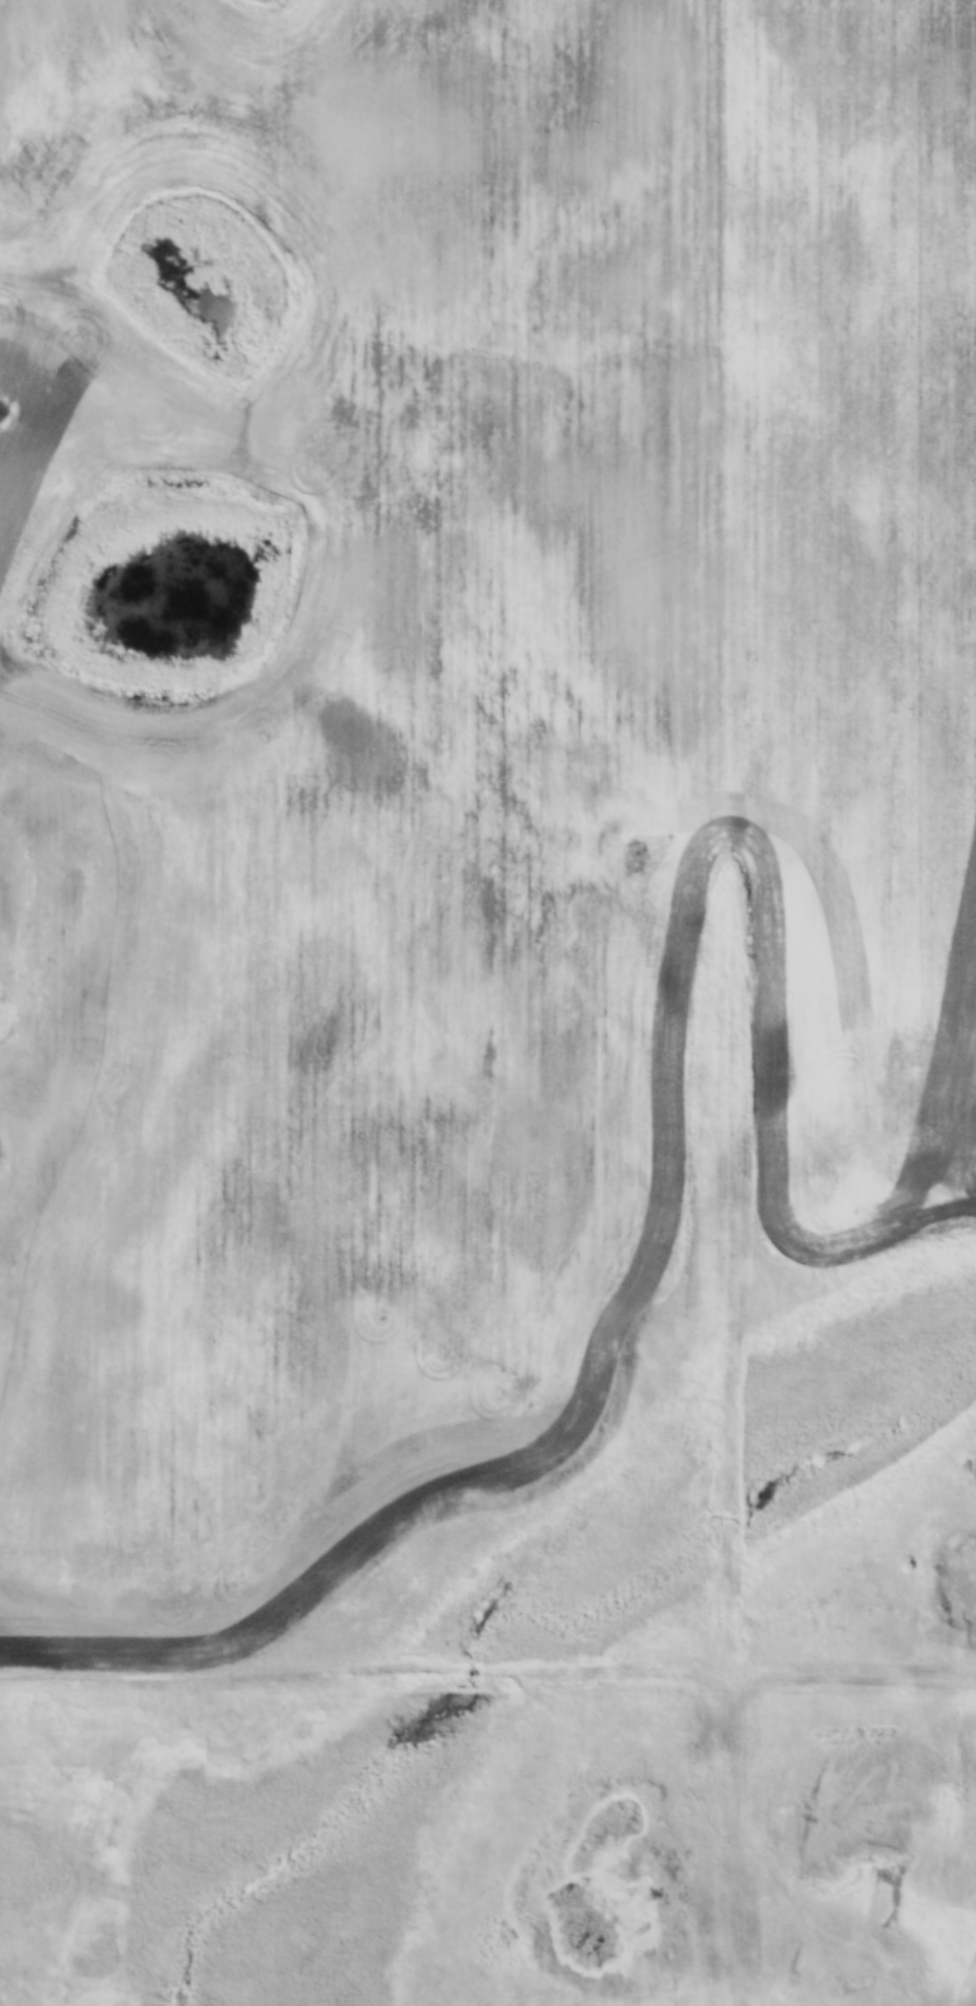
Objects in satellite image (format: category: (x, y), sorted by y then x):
road: (487, 1667)
road: (740, 1837)

